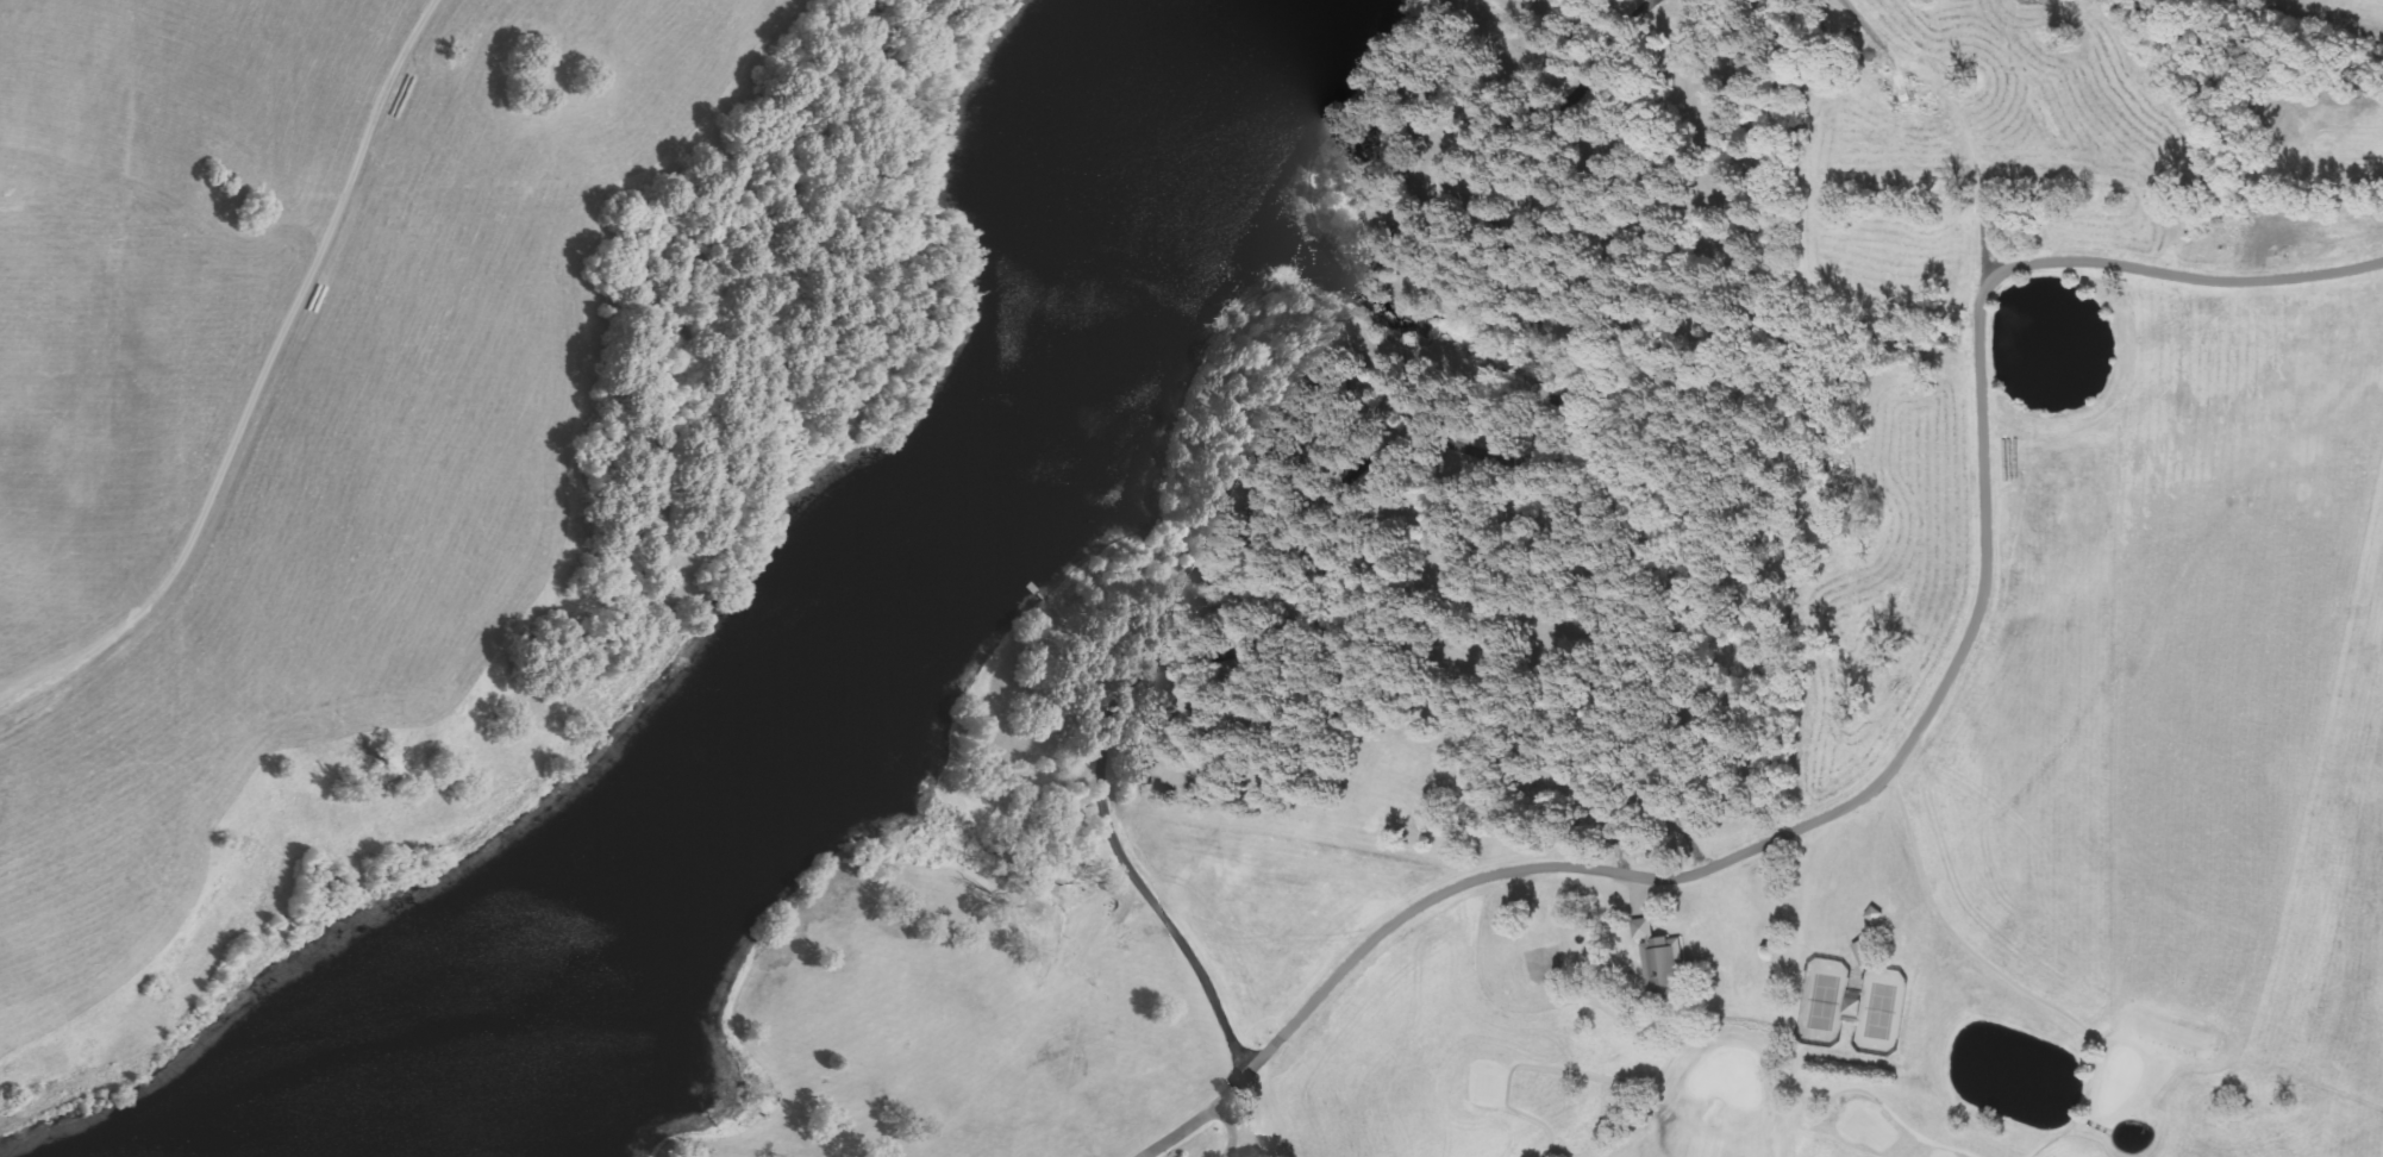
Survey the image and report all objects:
road: (1365, 526)
road: (1903, 746)
building: (1658, 956)
building: (1851, 1006)

